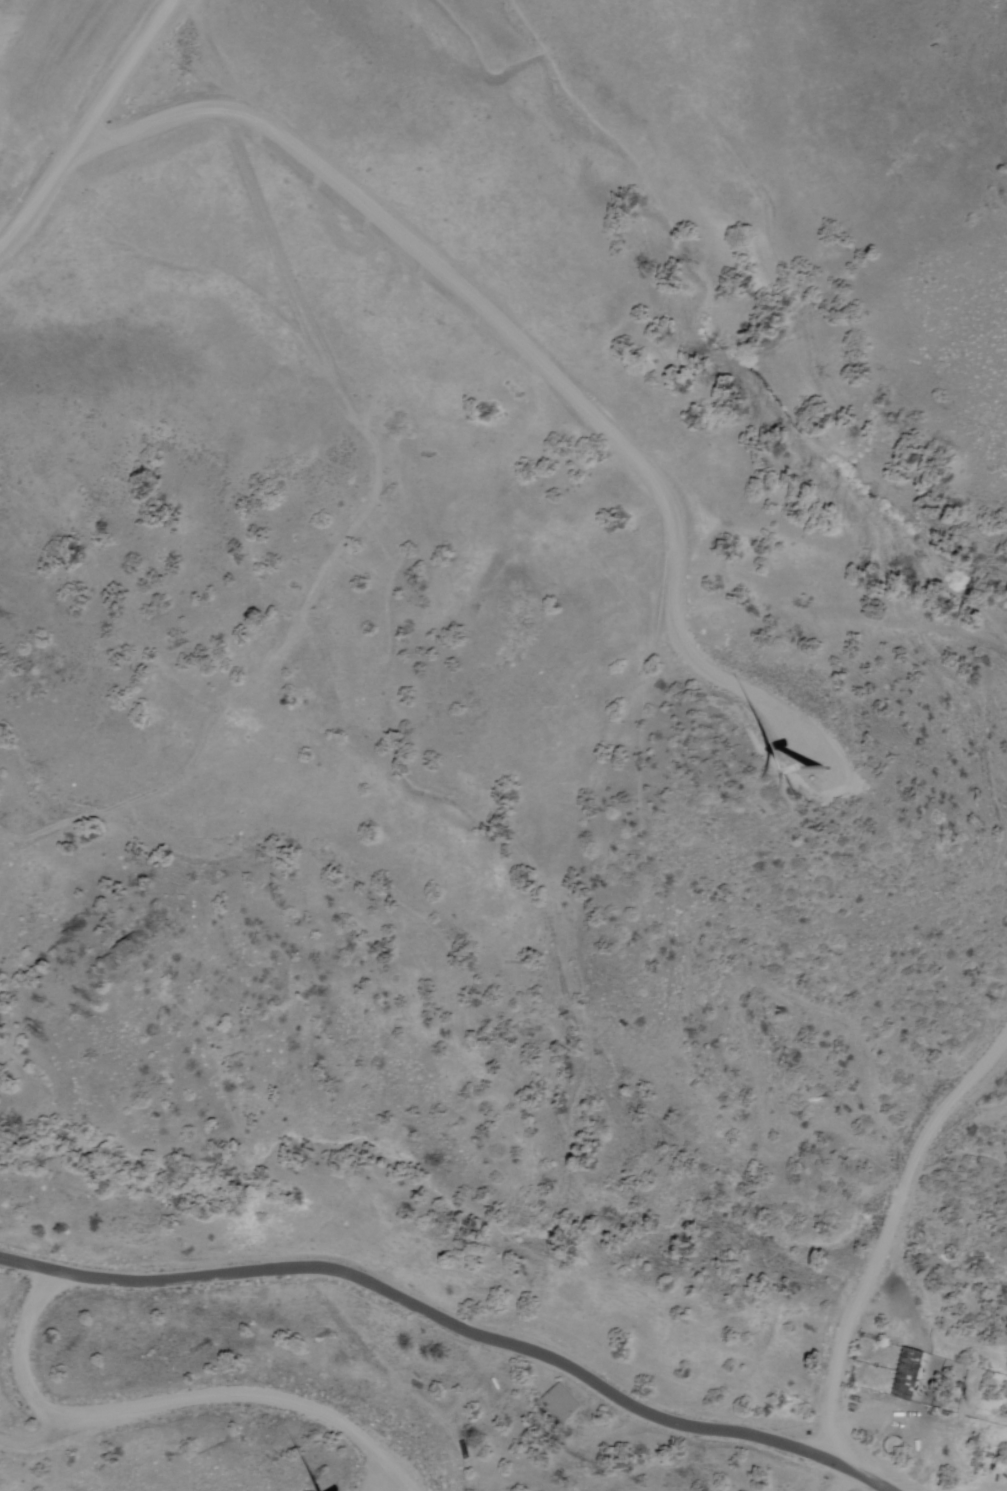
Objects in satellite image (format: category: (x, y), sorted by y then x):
road: (847, 598)
wind turbine: (824, 765)
building: (911, 1371)
road: (604, 1395)
building: (555, 1401)
road: (793, 1444)

